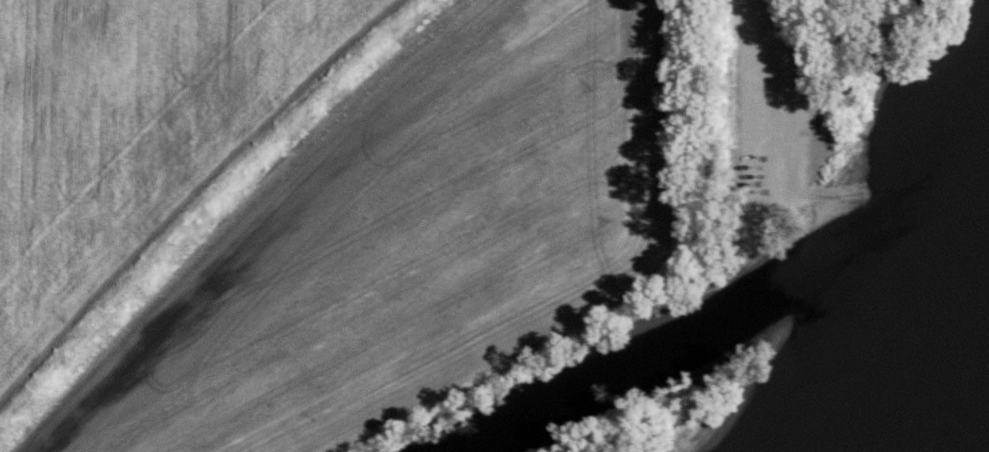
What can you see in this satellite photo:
road: (762, 74)

